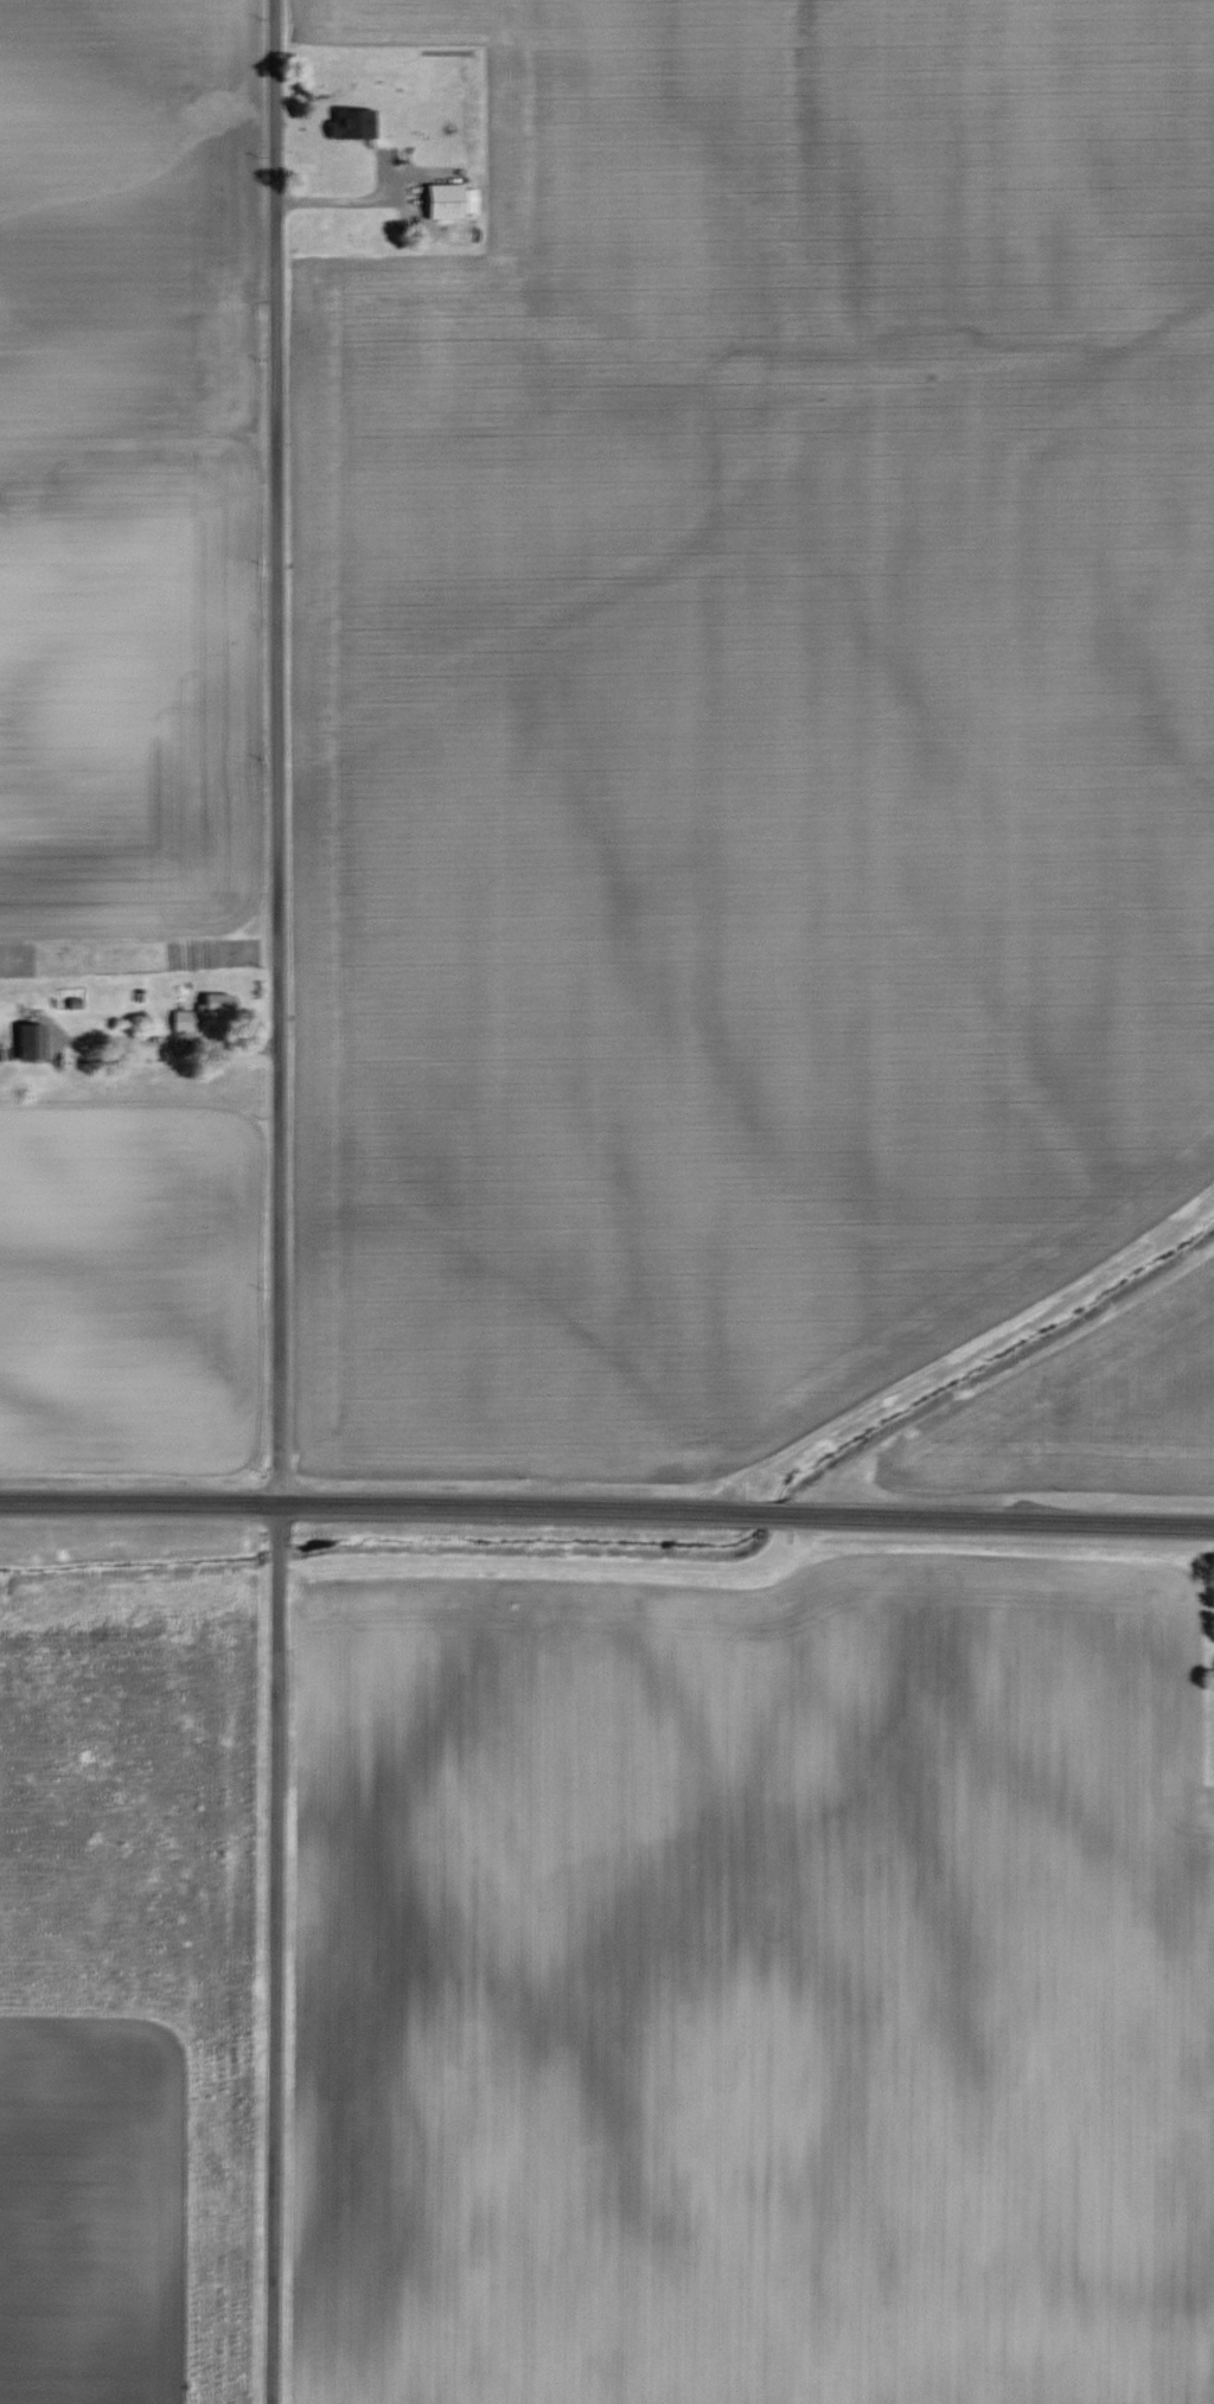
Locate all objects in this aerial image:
building: (350, 122)
building: (445, 200)
road: (275, 753)
building: (204, 1015)
building: (30, 1041)
road: (139, 1504)
road: (747, 1516)
road: (277, 1954)

